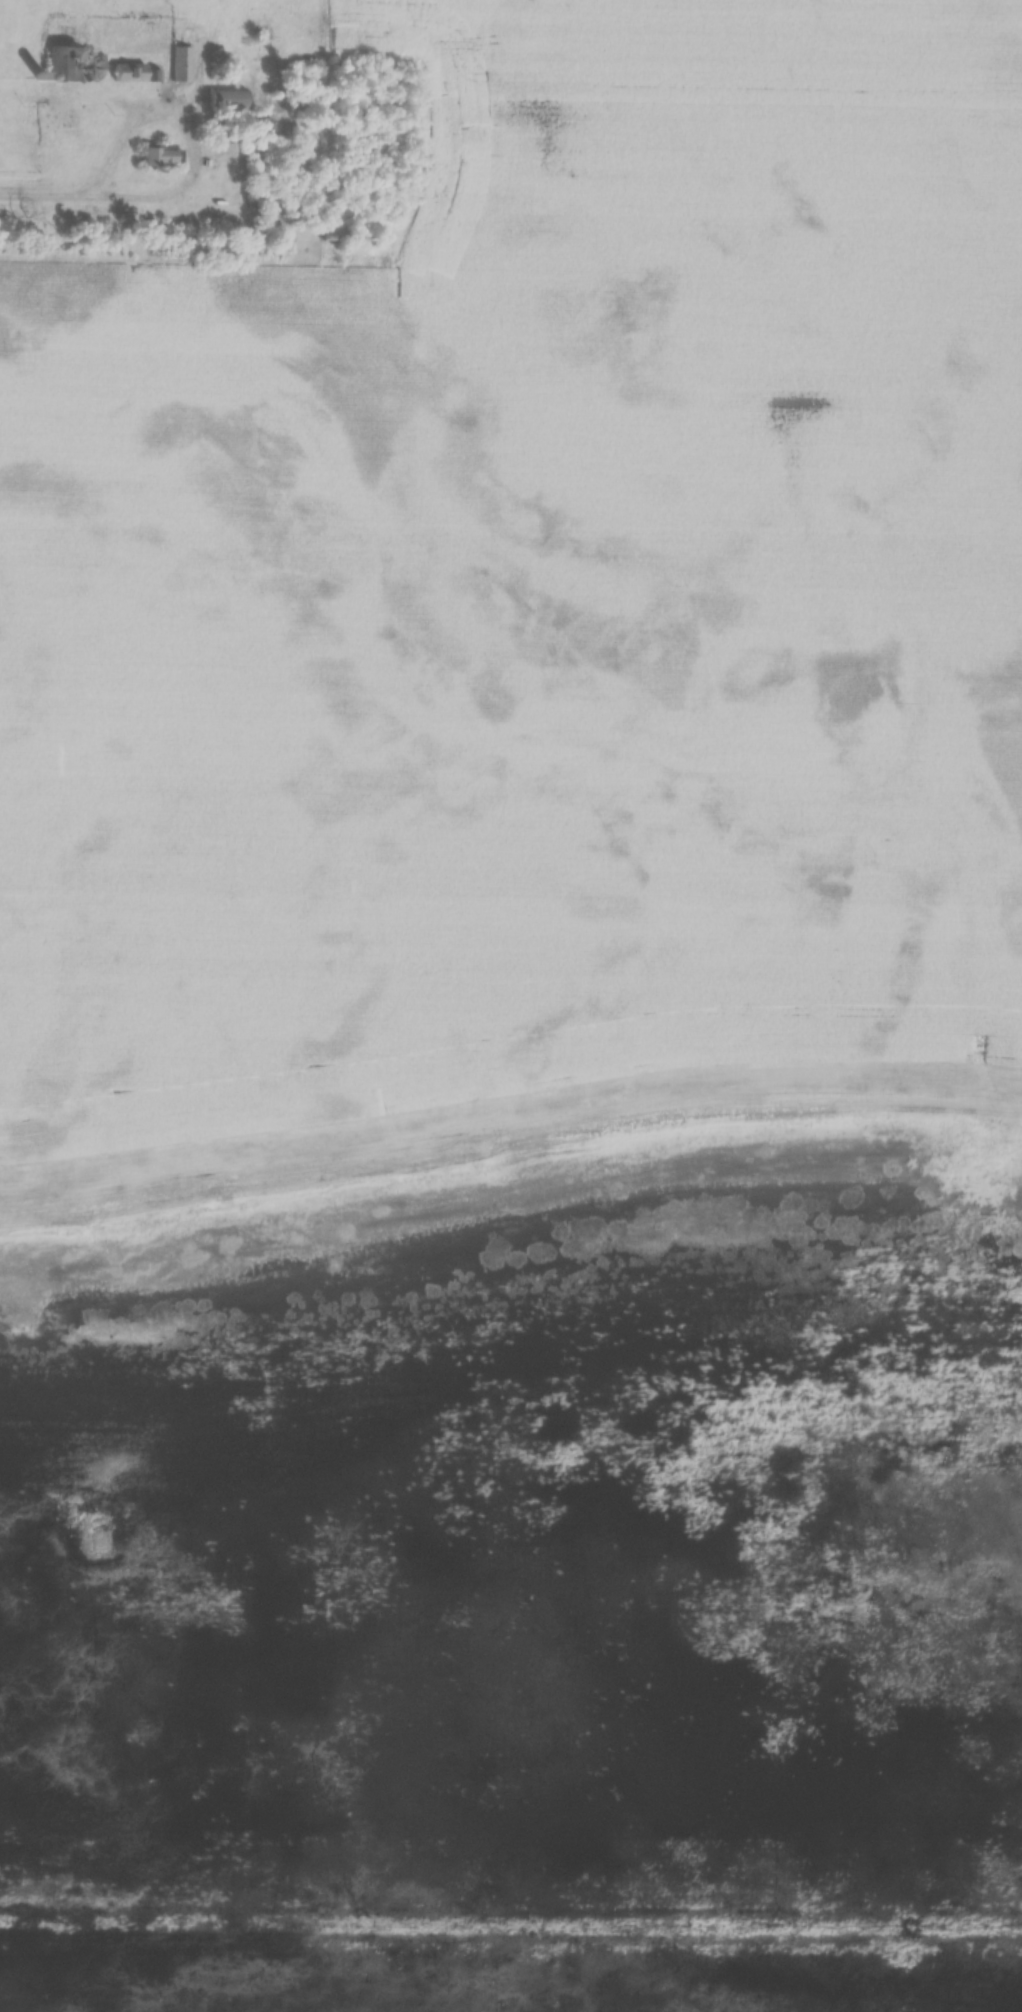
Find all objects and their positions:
building: (76, 66)
building: (181, 66)
building: (129, 74)
building: (228, 100)
road: (194, 135)
building: (162, 157)
road: (39, 195)

